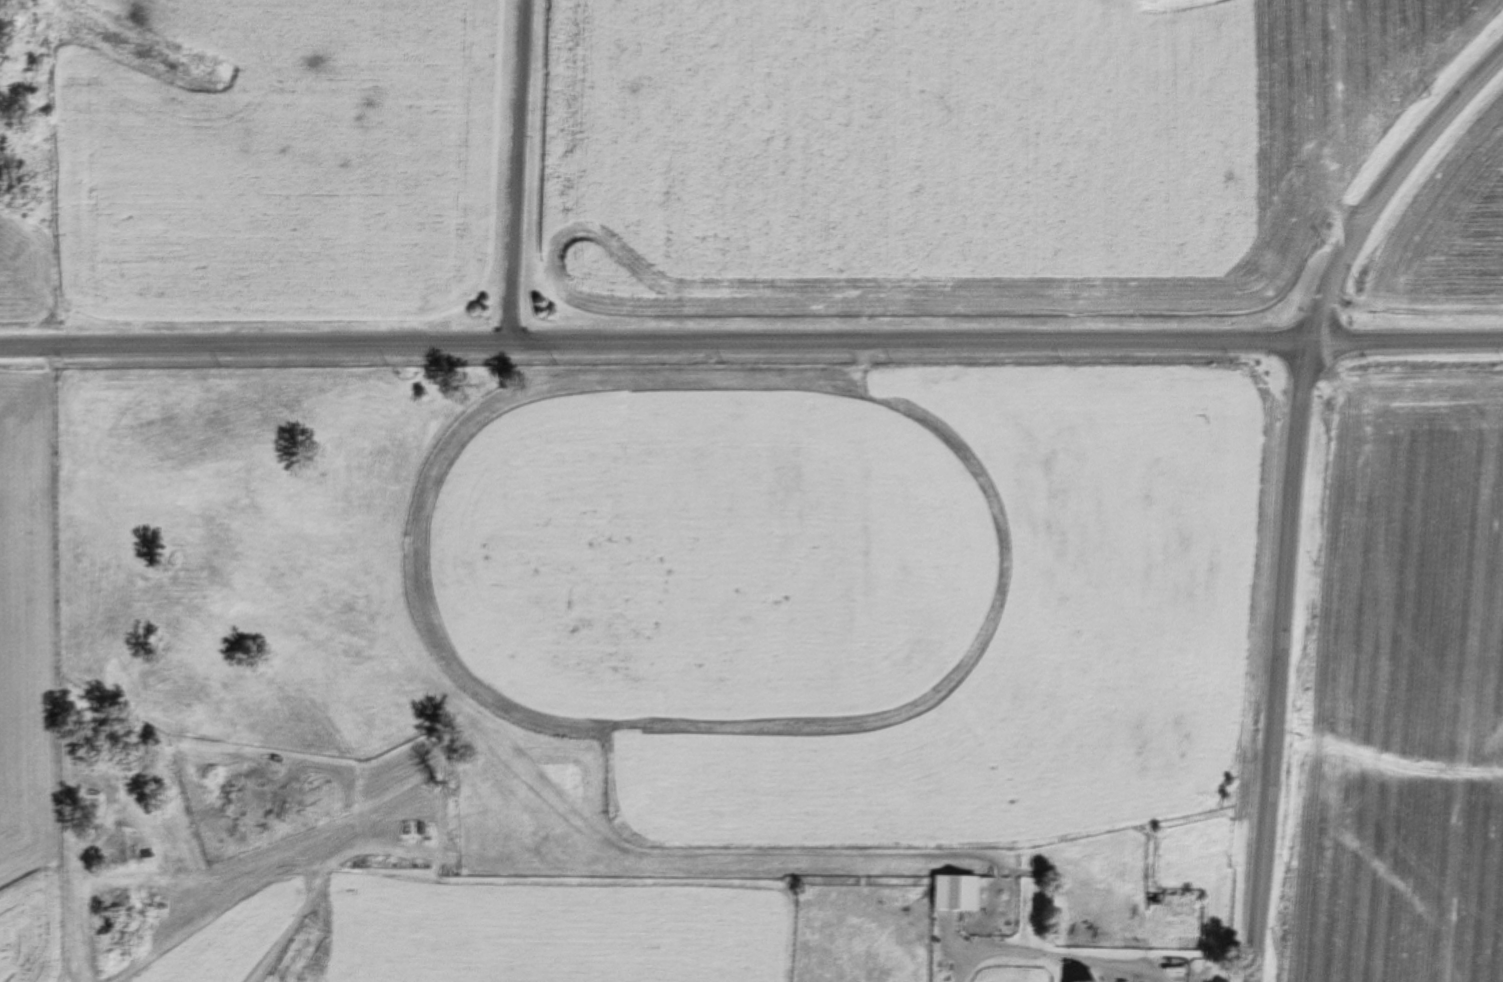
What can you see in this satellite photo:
road: (519, 174)
road: (751, 346)
road: (1290, 484)
building: (955, 892)
building: (1086, 981)

